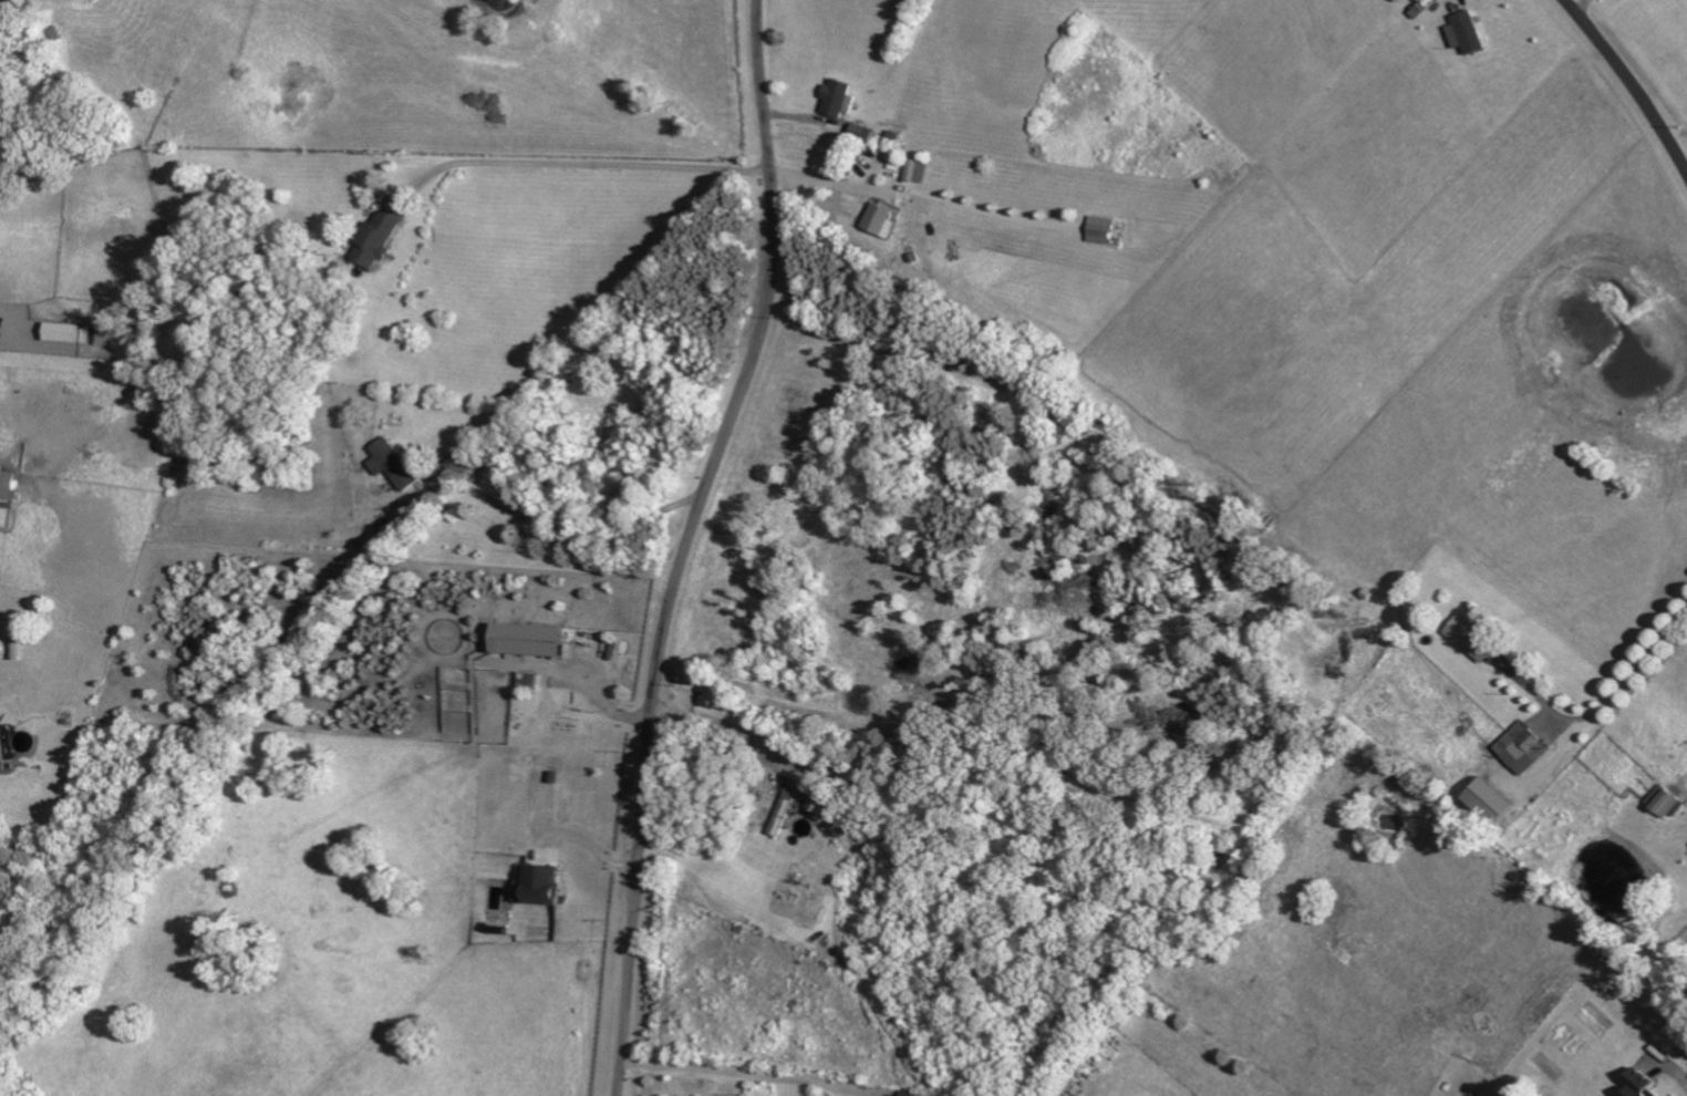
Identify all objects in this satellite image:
building: (1400, 0)
road: (1580, 7)
building: (1468, 32)
road: (1628, 84)
building: (839, 99)
building: (862, 133)
road: (593, 164)
building: (913, 169)
road: (825, 180)
building: (880, 220)
building: (1103, 229)
building: (382, 232)
building: (64, 332)
building: (1, 334)
building: (392, 464)
building: (7, 485)
road: (577, 536)
road: (687, 544)
building: (1472, 639)
building: (529, 641)
road: (1605, 707)
road: (738, 730)
building: (1522, 748)
building: (3, 751)
building: (1491, 802)
building: (820, 803)
building: (1667, 803)
building: (784, 813)
building: (542, 885)
road: (741, 1073)
building: (1643, 1084)
building: (910, 1094)

